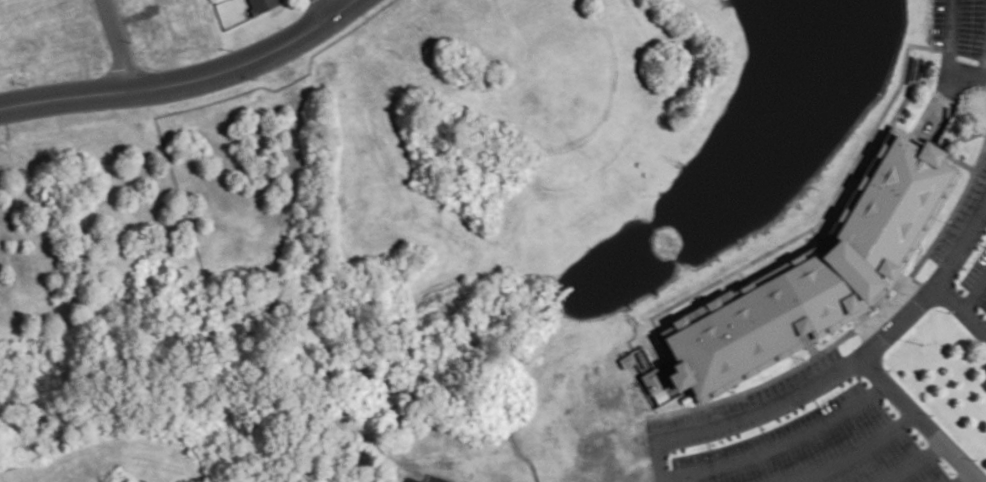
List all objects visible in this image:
building: (262, 5)
road: (328, 8)
parking lot: (960, 26)
road: (950, 38)
road: (120, 44)
road: (984, 66)
road: (186, 81)
road: (945, 90)
street lamp: (961, 96)
road: (962, 136)
building: (962, 150)
parking lot: (968, 239)
building: (815, 272)
road: (974, 293)
road: (884, 303)
road: (961, 307)
street lamp: (948, 310)
road: (860, 324)
flagpole: (922, 342)
road: (810, 343)
street lamp: (804, 357)
building: (627, 359)
street lamp: (889, 368)
road: (834, 373)
building: (654, 379)
street lamp: (733, 390)
building: (685, 397)
street lamp: (932, 414)
road: (921, 418)
parking lot: (792, 435)
road: (780, 445)
road: (858, 451)
street lamp: (975, 458)
road: (914, 462)
road: (964, 476)
parking lot: (427, 477)

